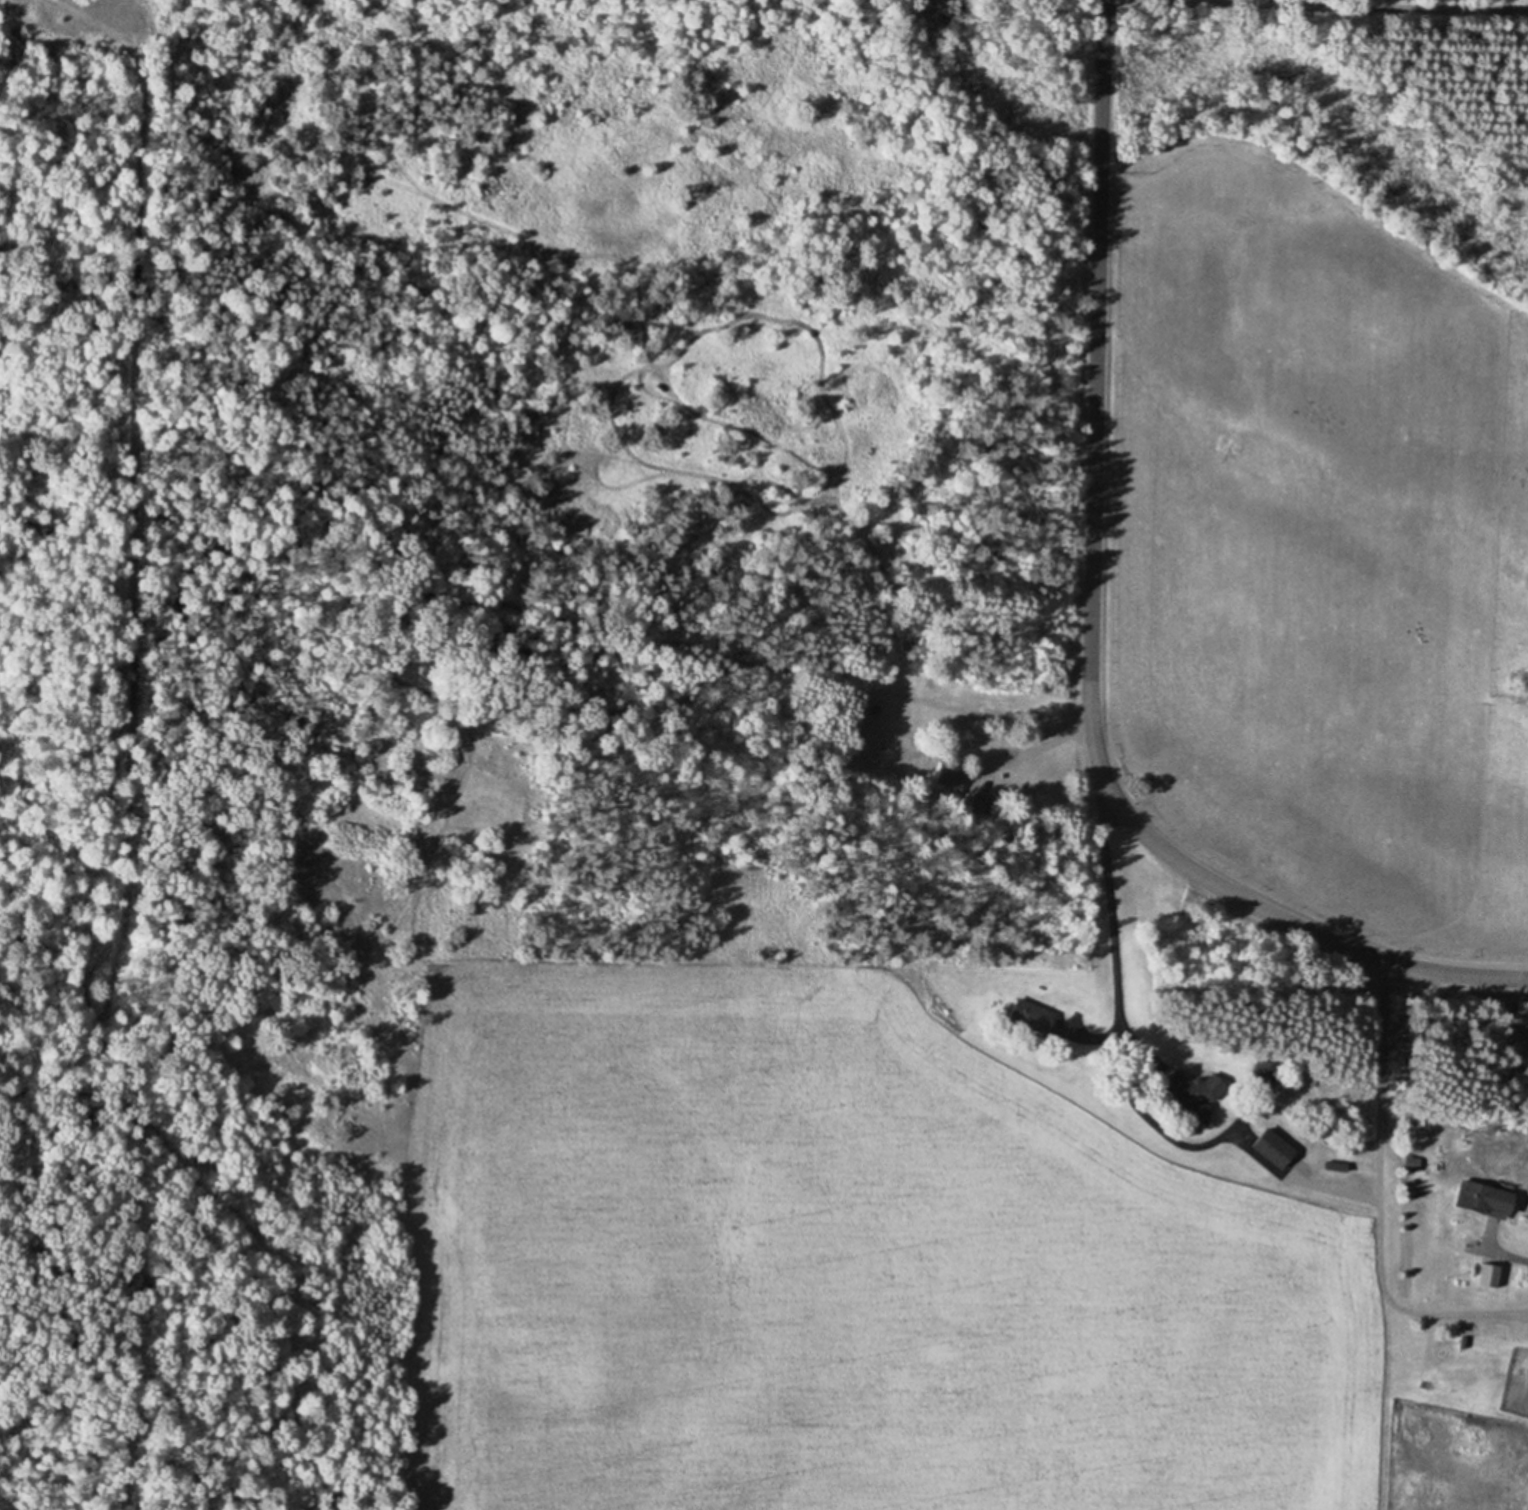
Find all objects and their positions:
road: (1315, 5)
road: (1091, 632)
road: (1052, 740)
building: (952, 778)
road: (1117, 997)
building: (1031, 1015)
building: (1192, 1099)
building: (1272, 1147)
building: (1485, 1199)
road: (1380, 1203)
road: (1508, 1254)
building: (1488, 1274)

